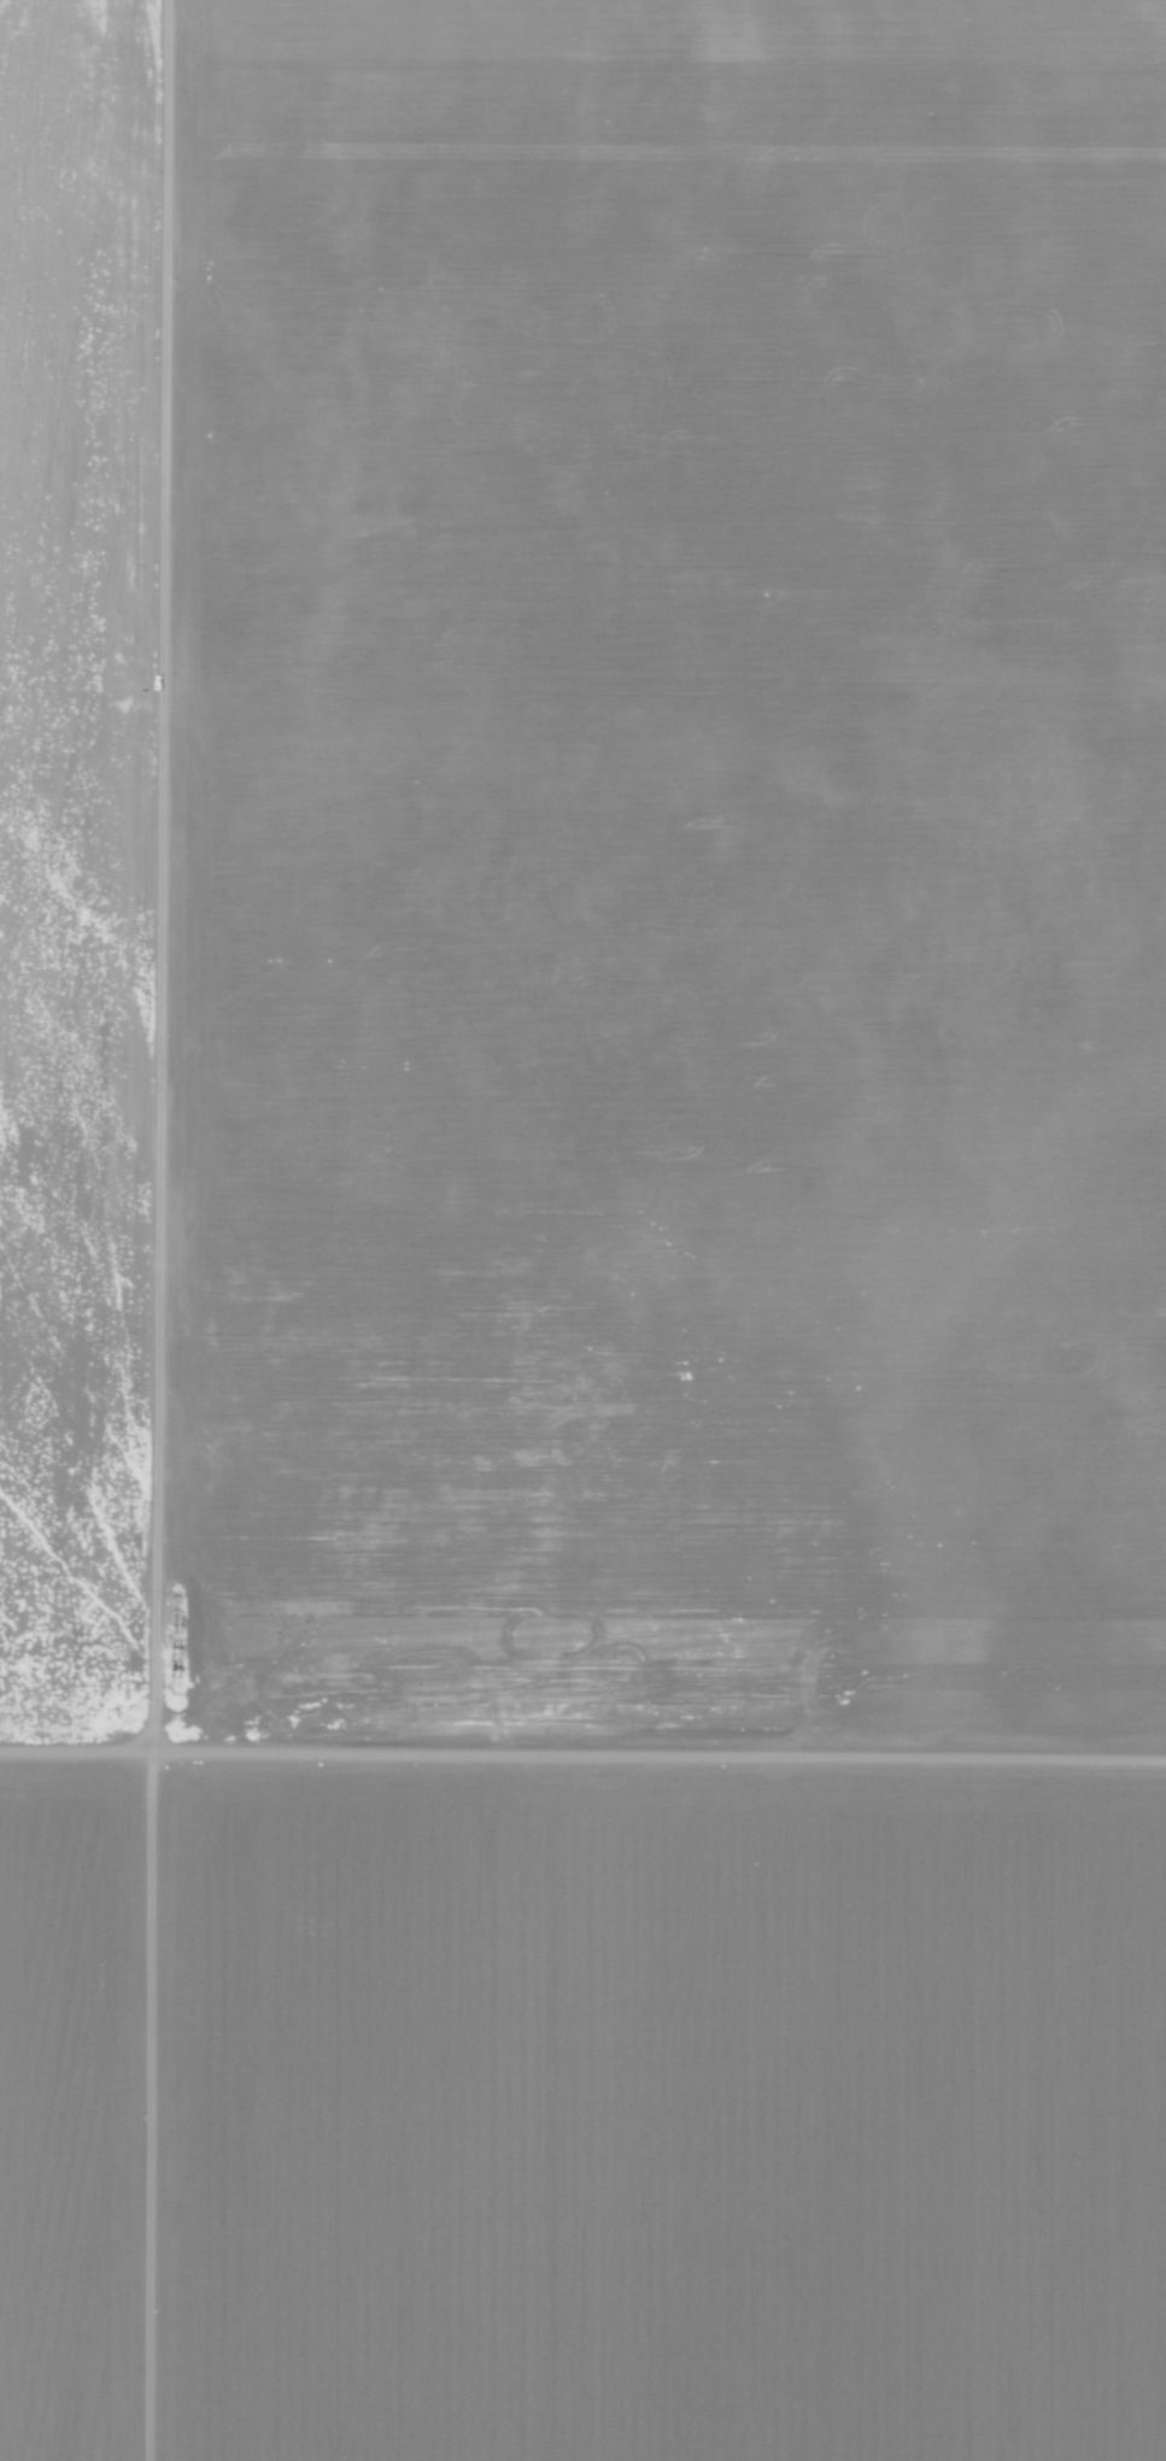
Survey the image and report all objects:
crop: (656, 887)
road: (199, 1230)
road: (582, 1764)

